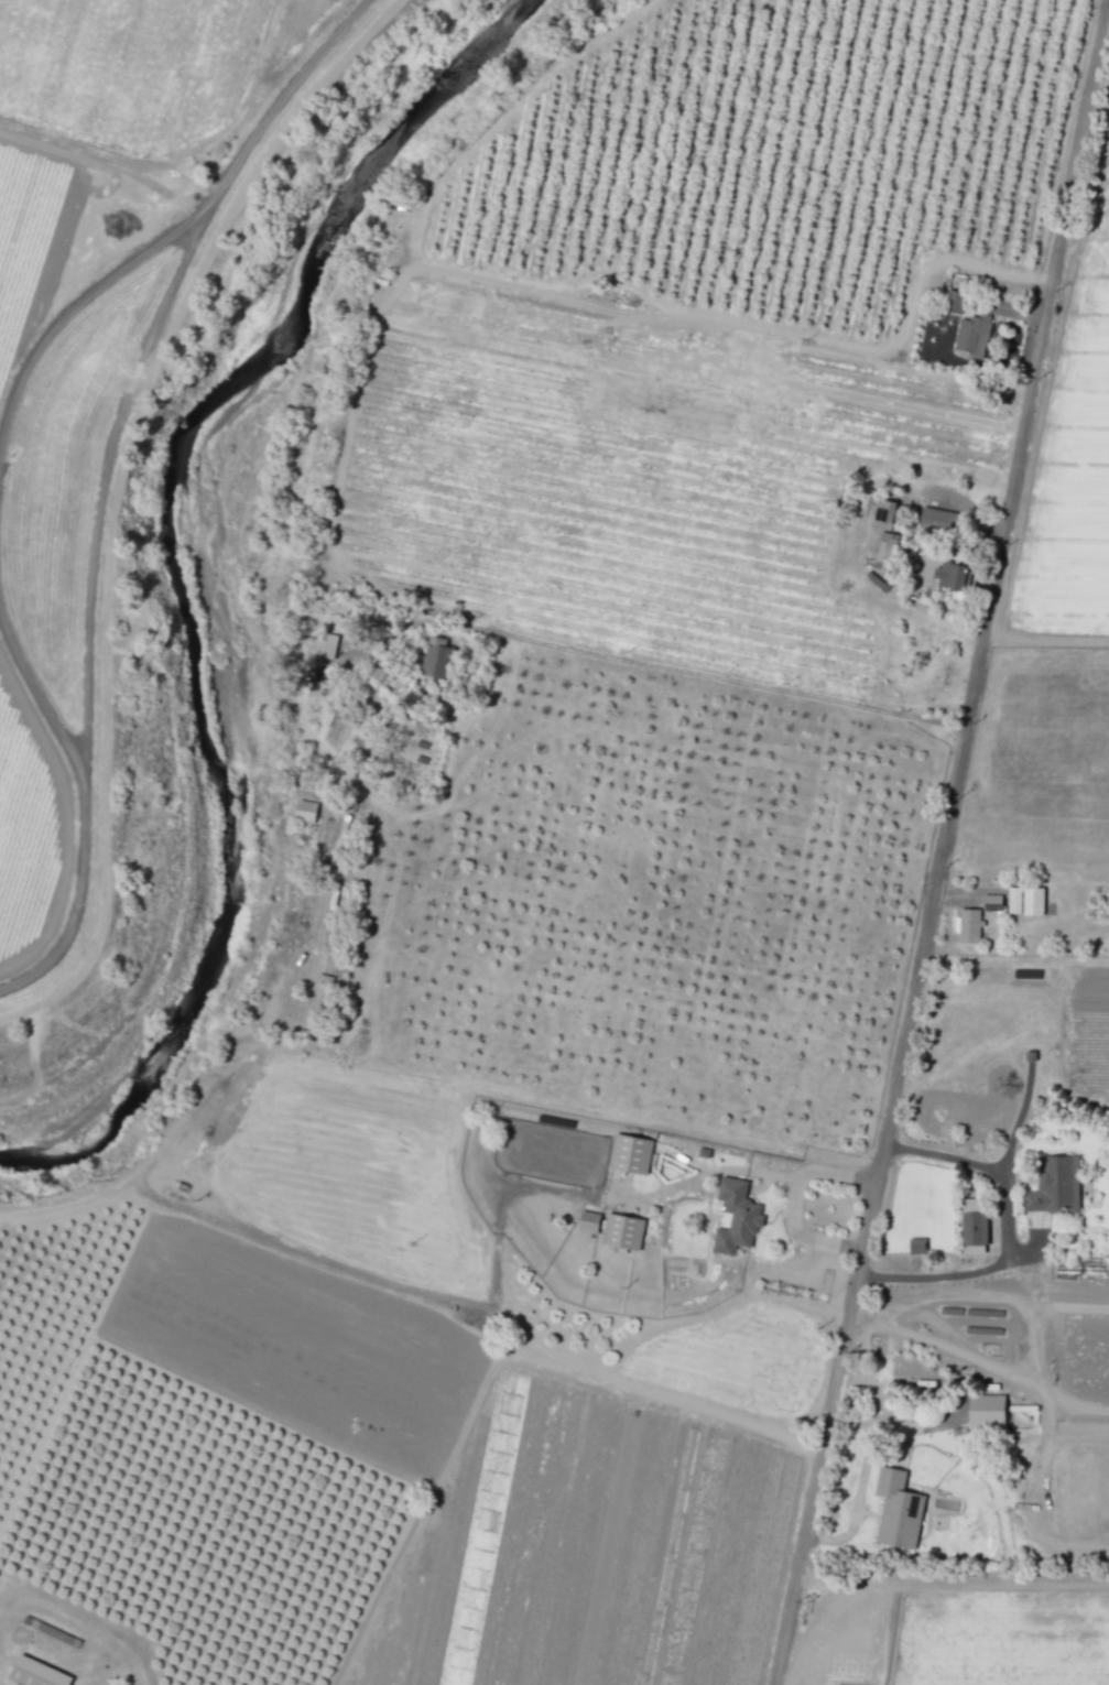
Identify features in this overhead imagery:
road: (1094, 129)
building: (953, 302)
road: (73, 304)
building: (970, 336)
road: (104, 478)
building: (883, 511)
building: (936, 520)
building: (885, 550)
building: (952, 576)
river: (186, 581)
road: (936, 619)
building: (327, 646)
building: (435, 662)
road: (713, 675)
road: (40, 696)
building: (305, 812)
road: (943, 843)
building: (1013, 901)
building: (1032, 902)
building: (991, 903)
building: (968, 926)
building: (630, 1154)
road: (704, 1175)
building: (1054, 1186)
road: (793, 1202)
building: (736, 1217)
building: (588, 1221)
building: (972, 1226)
road: (1008, 1231)
building: (622, 1232)
building: (916, 1246)
road: (296, 1249)
building: (986, 1411)
road: (859, 1483)
building: (896, 1510)
building: (34, 1674)

